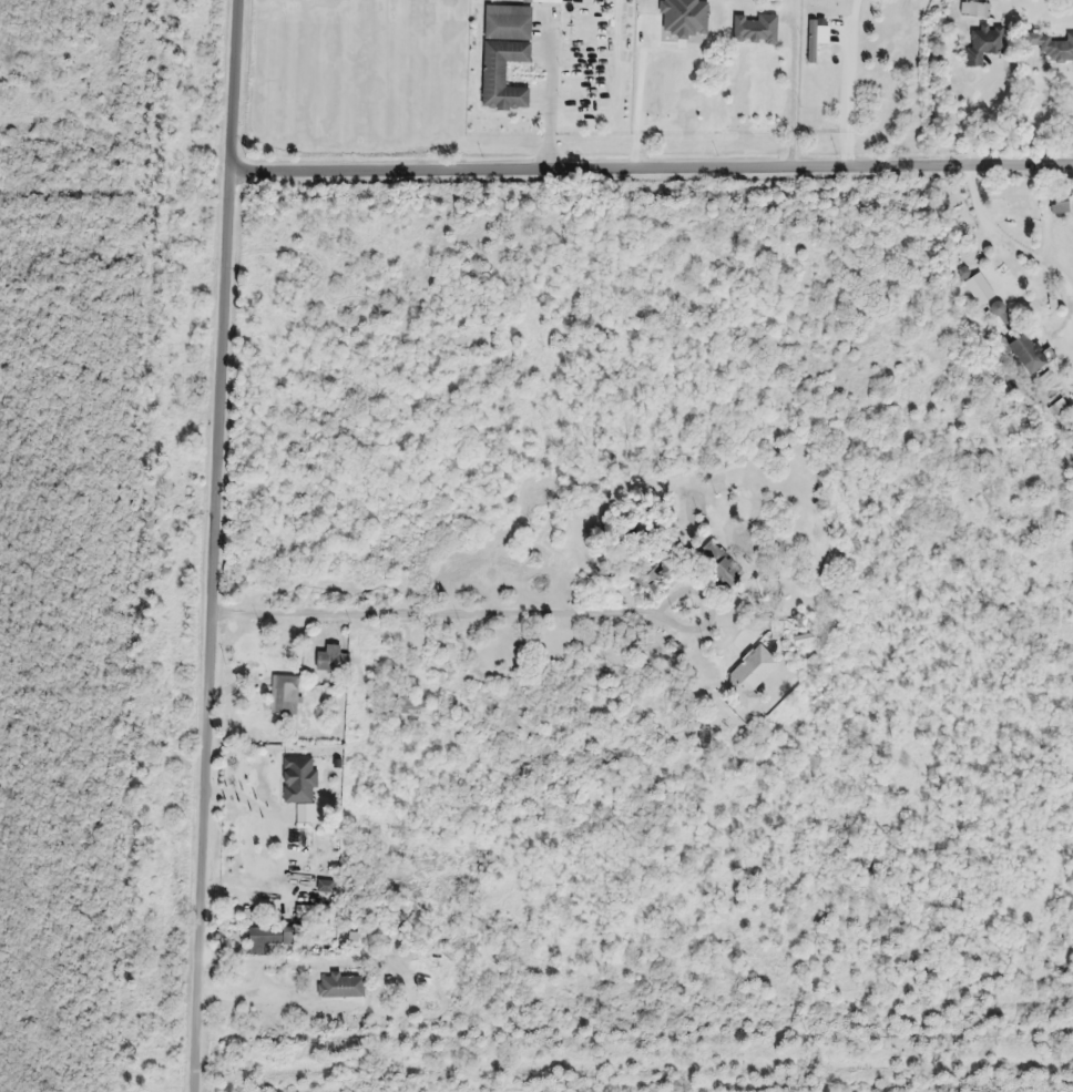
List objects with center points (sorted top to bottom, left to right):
building: (974, 10)
building: (755, 29)
building: (983, 44)
building: (1051, 47)
building: (504, 52)
road: (245, 84)
road: (657, 164)
building: (1059, 207)
building: (975, 286)
building: (1022, 350)
building: (721, 564)
building: (647, 579)
road: (446, 612)
road: (219, 630)
building: (329, 659)
building: (749, 676)
building: (285, 695)
building: (410, 706)
road: (701, 721)
building: (299, 779)
building: (269, 941)
building: (340, 986)

